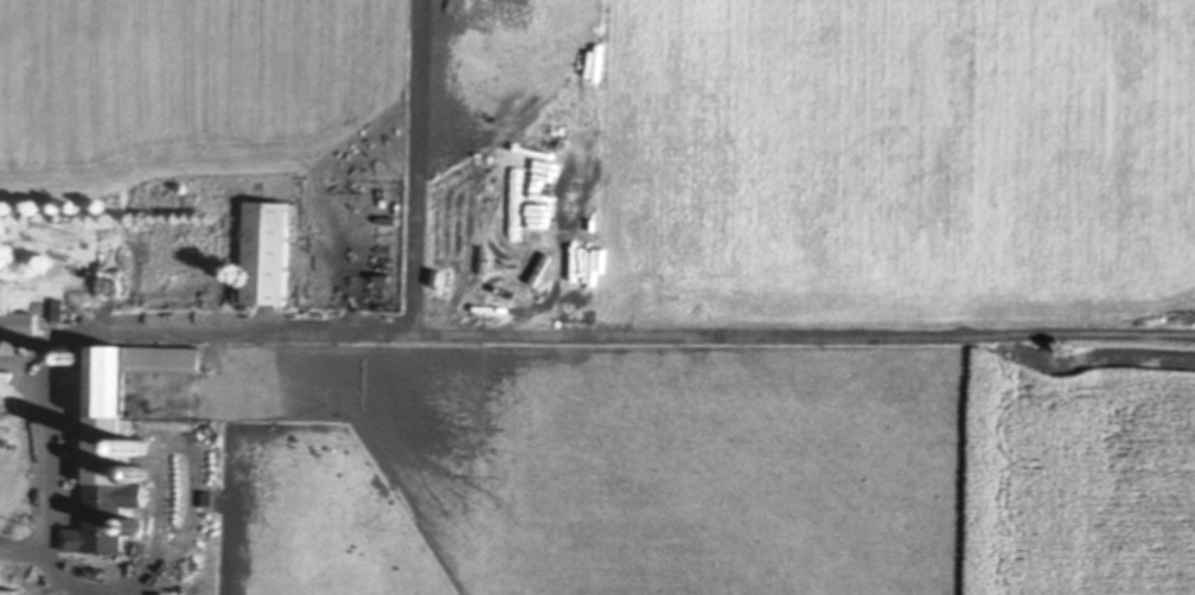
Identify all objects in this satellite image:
building: (161, 132)
building: (349, 160)
building: (264, 248)
crop: (680, 283)
building: (7, 319)
building: (77, 353)
building: (115, 435)
building: (139, 443)
road: (55, 459)
building: (138, 469)
building: (133, 522)
building: (8, 589)

